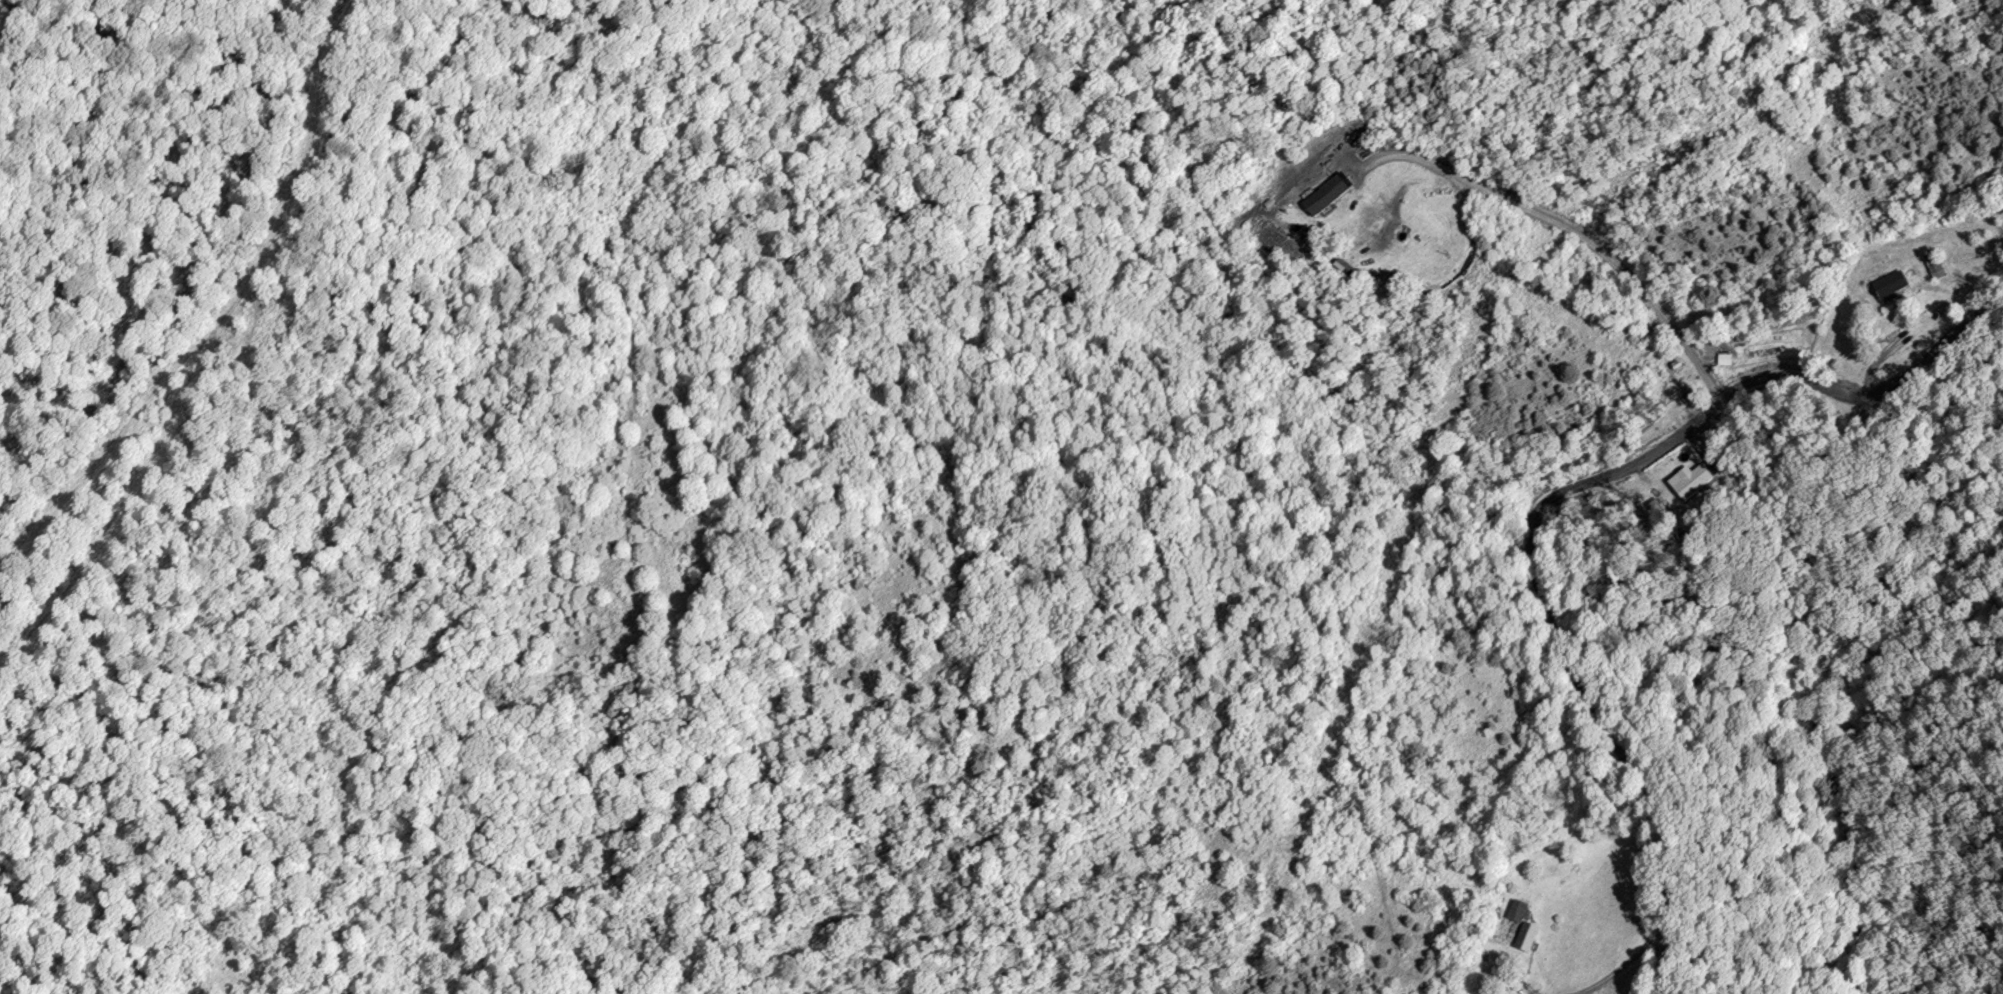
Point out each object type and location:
building: (1322, 197)
road: (1569, 227)
building: (1933, 266)
building: (1890, 284)
road: (227, 317)
building: (1722, 359)
building: (1691, 483)
road: (1553, 494)
building: (1516, 911)
road: (1618, 967)
road: (1523, 978)

